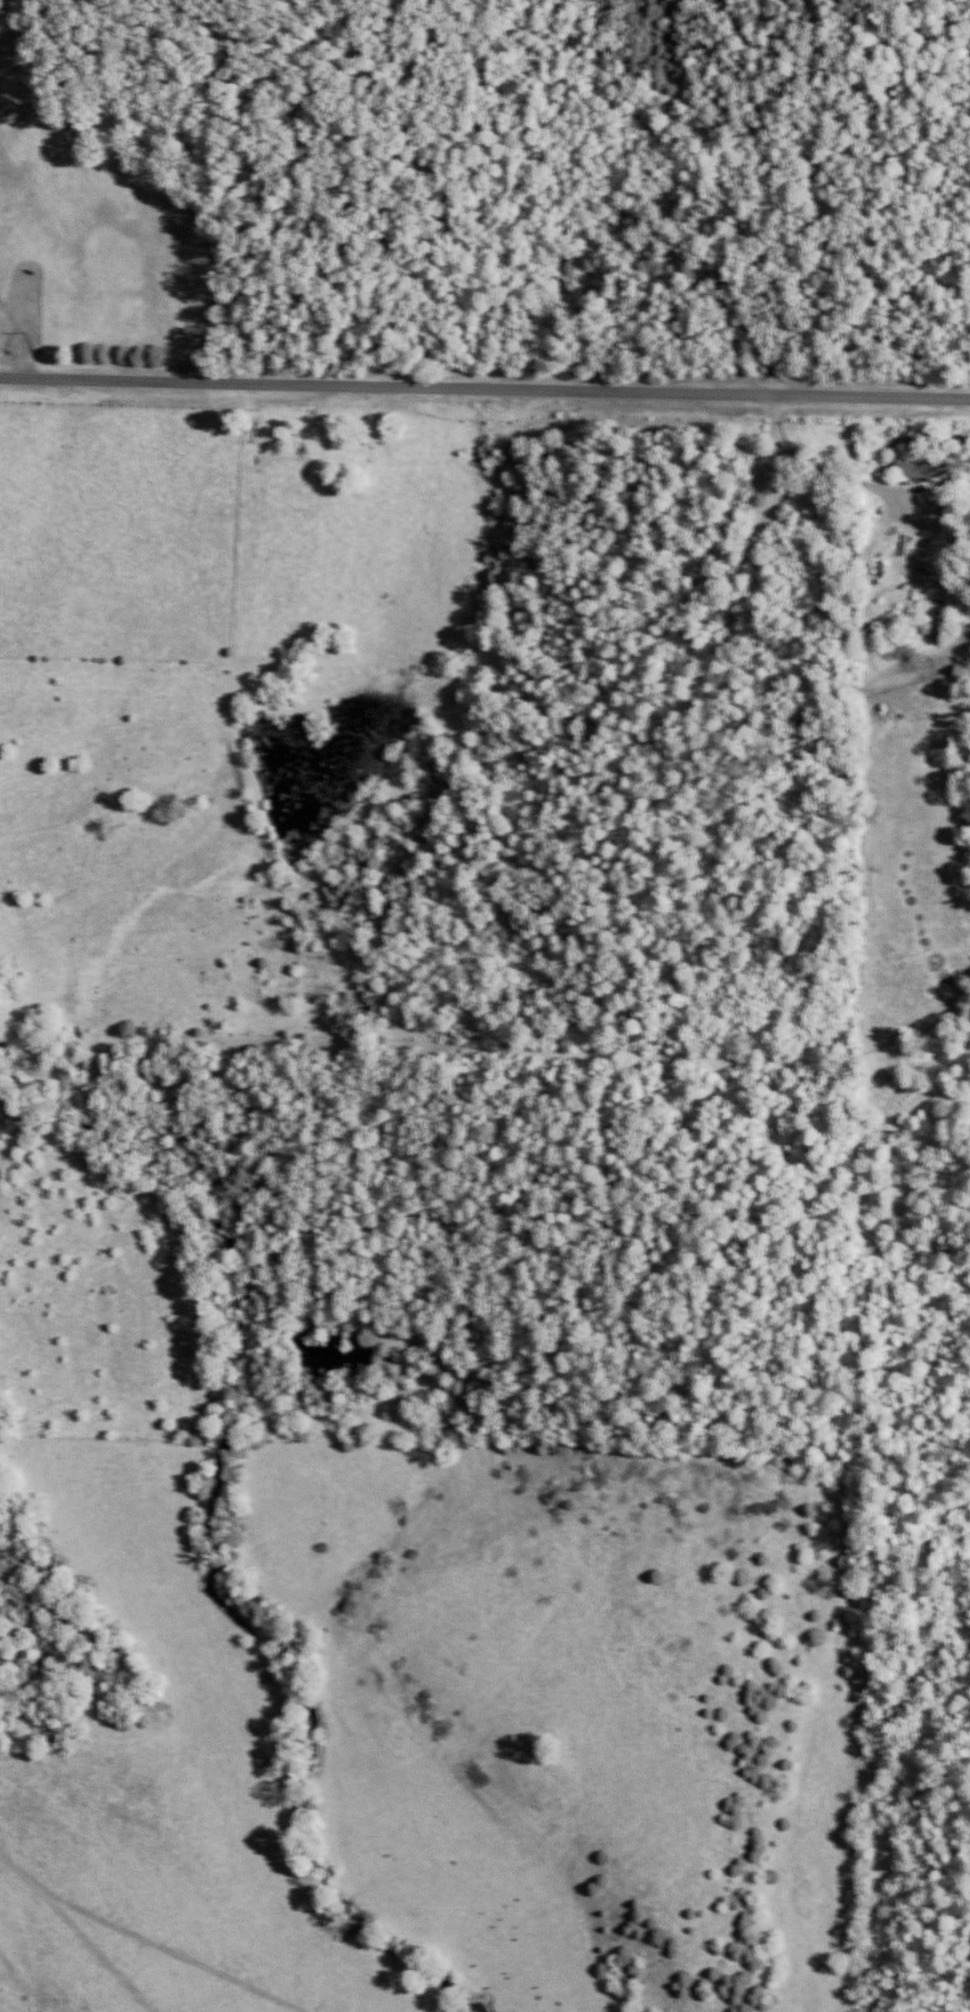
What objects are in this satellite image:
road: (61, 244)
road: (484, 387)
building: (921, 471)

